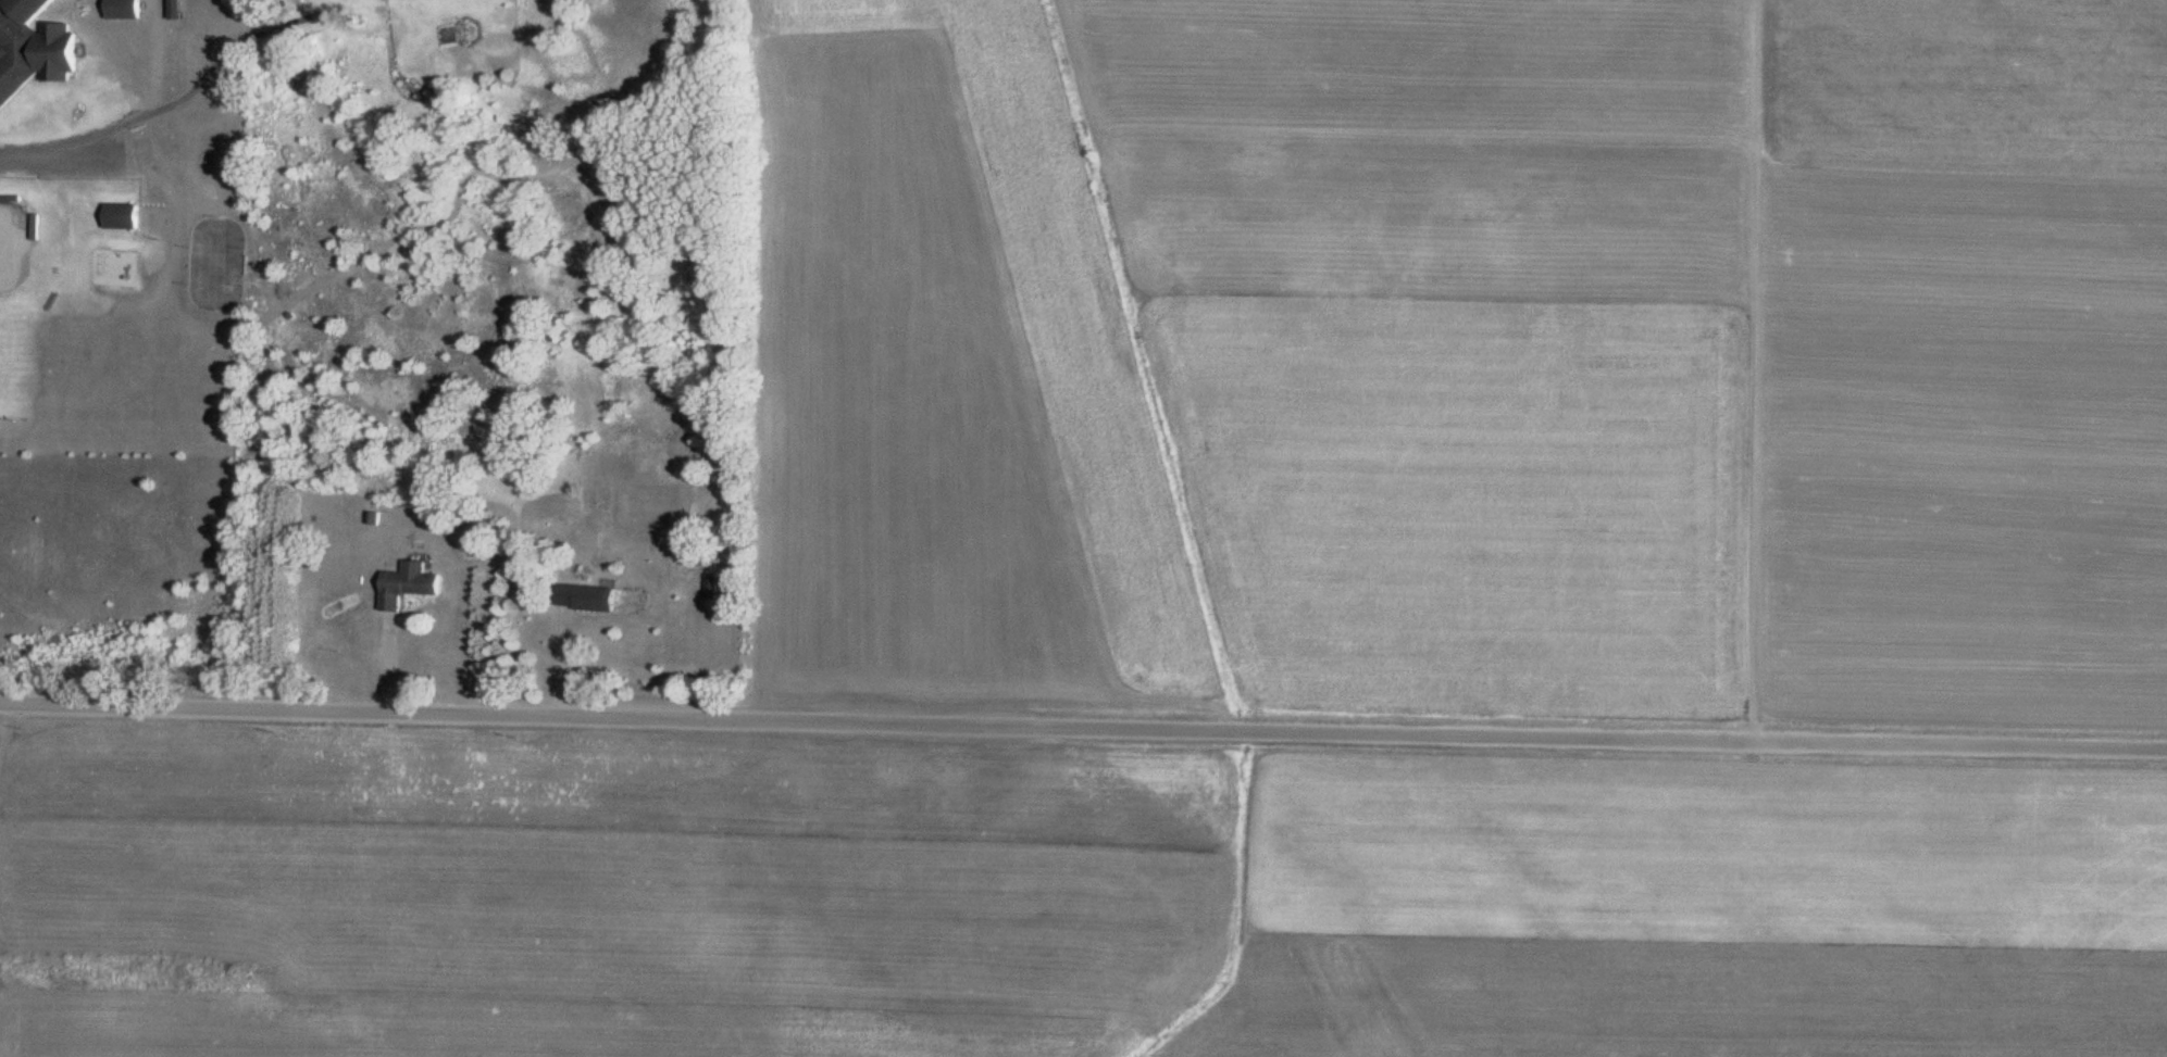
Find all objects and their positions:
building: (126, 11)
building: (177, 11)
building: (33, 50)
road: (120, 129)
building: (123, 218)
building: (712, 589)
building: (411, 590)
building: (590, 602)
road: (1083, 726)

